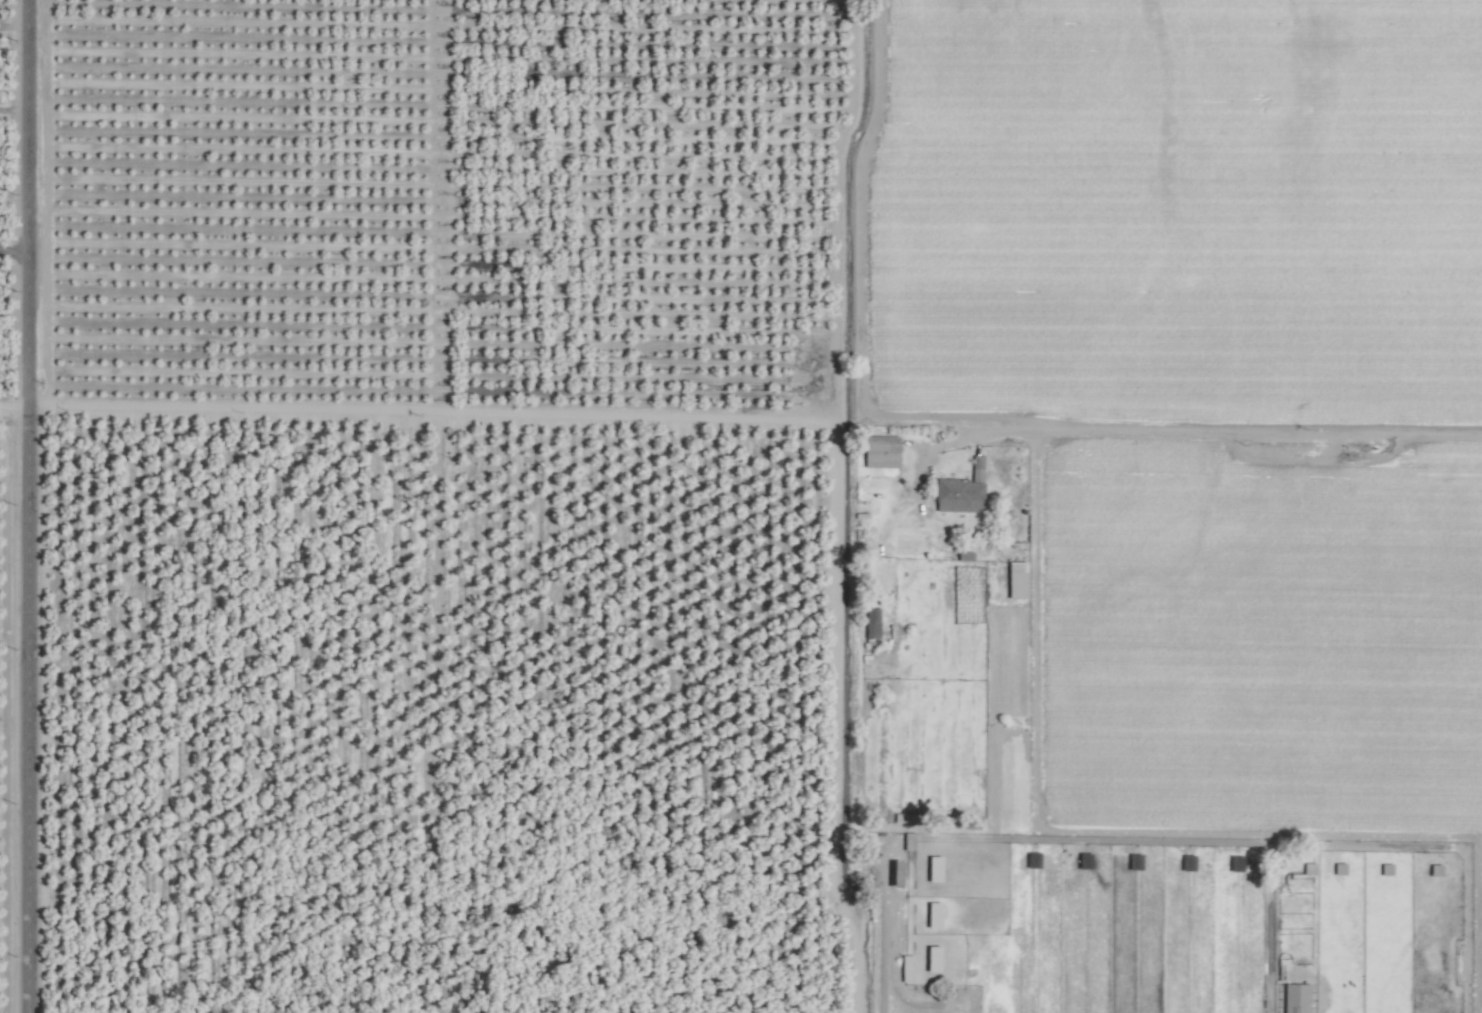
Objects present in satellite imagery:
road: (16, 249)
road: (15, 402)
road: (756, 414)
building: (878, 451)
building: (959, 491)
road: (30, 506)
crop: (741, 506)
building: (962, 556)
building: (1014, 580)
building: (870, 623)
building: (931, 869)
building: (1306, 869)
building: (1337, 869)
building: (1384, 869)
building: (1433, 870)
building: (931, 915)
building: (930, 959)
building: (904, 968)
building: (1294, 998)

